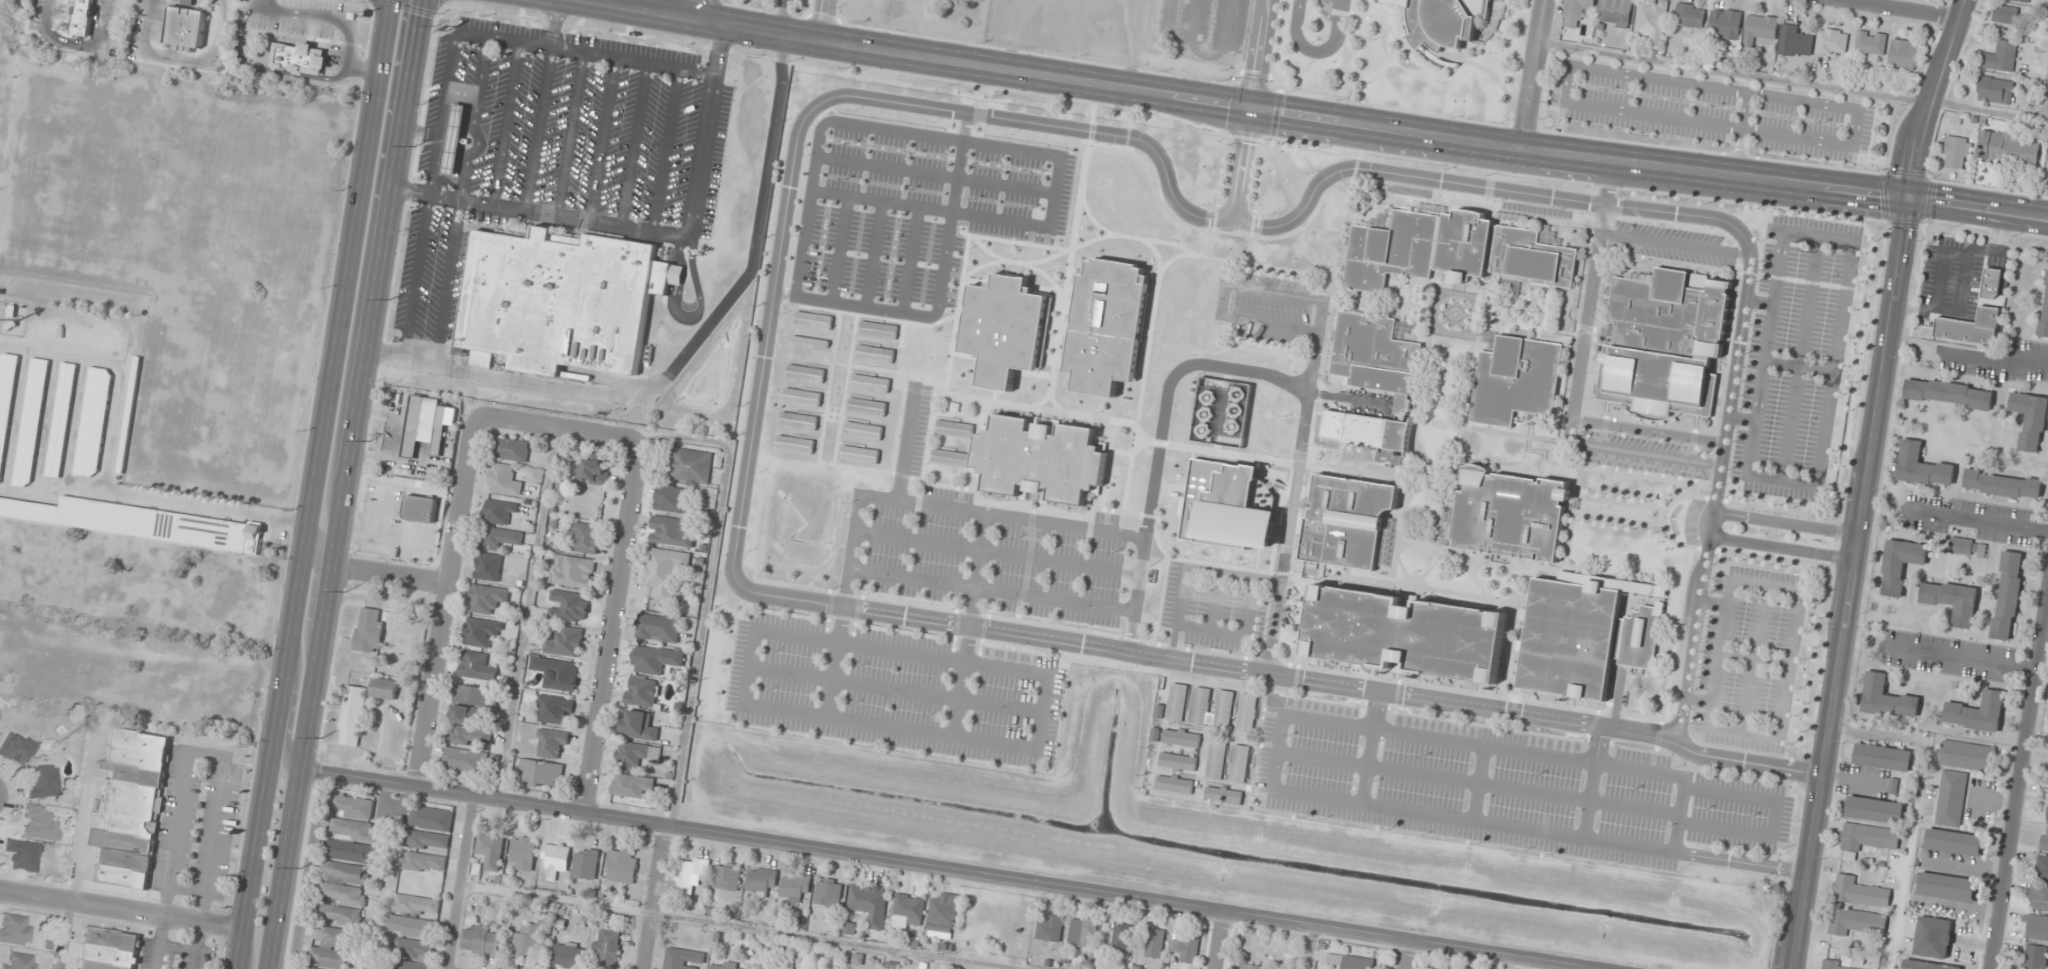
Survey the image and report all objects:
building: (2022, 0)
road: (703, 8)
road: (1897, 10)
building: (1576, 12)
building: (1615, 12)
building: (2006, 14)
building: (1689, 17)
building: (84, 18)
road: (320, 18)
road: (827, 18)
building: (1440, 21)
building: (1653, 21)
road: (554, 23)
building: (1725, 23)
building: (184, 25)
building: (1760, 28)
road: (503, 39)
building: (1795, 40)
building: (1832, 42)
building: (1871, 43)
road: (1347, 48)
road: (1401, 48)
road: (1315, 50)
road: (1251, 54)
building: (1903, 54)
road: (1266, 55)
building: (298, 56)
building: (2000, 56)
road: (179, 58)
building: (1446, 62)
road: (1513, 63)
road: (1481, 67)
road: (261, 68)
road: (362, 68)
road: (1531, 74)
road: (1796, 81)
road: (1703, 86)
road: (984, 90)
building: (1995, 90)
road: (1933, 98)
road: (1354, 103)
road: (1135, 108)
traffic signals: (1253, 109)
road: (1254, 109)
road: (1744, 111)
road: (505, 123)
road: (860, 125)
road: (537, 128)
road: (703, 128)
road: (1531, 130)
road: (568, 133)
building: (453, 137)
gas station: (453, 137)
road: (601, 139)
road: (632, 144)
building: (2008, 148)
road: (664, 149)
road: (1705, 151)
building: (1954, 151)
road: (1244, 166)
road: (937, 174)
road: (1519, 174)
road: (1508, 190)
road: (1057, 192)
road: (460, 197)
traffic signals: (1910, 199)
road: (1318, 202)
road: (1979, 209)
road: (537, 212)
road: (1091, 218)
building: (1090, 234)
building: (1134, 240)
road: (1154, 241)
road: (1674, 244)
road: (840, 249)
building: (1452, 250)
road: (1156, 253)
building: (1067, 254)
road: (875, 255)
road: (910, 260)
road: (1017, 262)
building: (1130, 264)
road: (416, 274)
road: (1047, 276)
building: (1991, 283)
road: (1258, 290)
road: (784, 295)
building: (559, 298)
road: (1759, 300)
road: (843, 303)
road: (1587, 309)
road: (1841, 311)
building: (2044, 311)
road: (687, 317)
building: (811, 319)
road: (909, 323)
building: (1106, 325)
road: (1270, 325)
building: (1970, 327)
building: (1003, 328)
building: (877, 329)
road: (1152, 330)
road: (766, 336)
building: (808, 340)
building: (1662, 344)
road: (836, 345)
road: (685, 350)
building: (873, 352)
building: (1374, 355)
road: (1799, 358)
road: (1994, 359)
road: (125, 364)
road: (1797, 364)
building: (1050, 365)
road: (882, 370)
building: (804, 372)
building: (1516, 379)
building: (869, 381)
road: (1170, 388)
building: (1066, 392)
building: (1948, 393)
building: (6, 396)
building: (800, 396)
road: (1349, 397)
road: (995, 400)
building: (865, 406)
road: (16, 416)
building: (2030, 418)
building: (797, 419)
road: (46, 420)
building: (61, 420)
road: (73, 421)
building: (31, 422)
building: (93, 422)
building: (414, 426)
building: (953, 428)
building: (862, 429)
building: (440, 430)
road: (558, 430)
road: (1647, 431)
building: (1363, 433)
road: (926, 440)
building: (793, 443)
road: (905, 443)
road: (1162, 443)
building: (511, 449)
building: (858, 453)
road: (1643, 453)
building: (948, 457)
building: (1038, 459)
building: (691, 465)
building: (1921, 466)
building: (596, 468)
road: (1616, 473)
building: (504, 479)
building: (1263, 479)
road: (313, 484)
road: (344, 484)
building: (2002, 484)
road: (1128, 487)
road: (1295, 487)
road: (52, 490)
building: (671, 498)
road: (1604, 501)
road: (1023, 506)
building: (1223, 506)
building: (421, 509)
road: (1787, 510)
building: (500, 511)
road: (206, 512)
building: (1509, 513)
road: (1589, 513)
road: (1663, 516)
road: (1975, 519)
building: (135, 520)
building: (1345, 520)
road: (1785, 522)
building: (671, 531)
building: (503, 537)
building: (584, 537)
building: (1967, 546)
road: (1781, 548)
road: (997, 552)
road: (1779, 560)
building: (1900, 562)
building: (488, 566)
road: (1187, 566)
building: (572, 571)
road: (1163, 571)
building: (665, 572)
road: (391, 574)
road: (1139, 575)
road: (1851, 583)
road: (311, 591)
road: (705, 593)
building: (2007, 594)
building: (488, 599)
building: (1952, 599)
road: (1216, 601)
road: (447, 603)
building: (570, 606)
road: (843, 607)
road: (524, 615)
road: (1011, 619)
road: (1760, 621)
road: (967, 624)
building: (658, 627)
road: (612, 628)
building: (369, 629)
road: (2044, 629)
building: (482, 632)
building: (1404, 632)
building: (1573, 632)
road: (1237, 634)
building: (1639, 636)
road: (1674, 640)
building: (566, 641)
road: (993, 645)
road: (1959, 656)
building: (651, 659)
road: (1772, 659)
building: (477, 666)
building: (556, 672)
road: (1281, 675)
road: (1751, 677)
building: (384, 688)
road: (894, 688)
building: (642, 691)
road: (1464, 691)
building: (1886, 698)
road: (1697, 699)
road: (1784, 701)
building: (1180, 702)
building: (472, 703)
road: (1341, 703)
building: (1203, 706)
building: (1227, 708)
building: (554, 709)
building: (1977, 712)
road: (288, 713)
building: (1250, 713)
building: (352, 715)
building: (639, 725)
road: (1500, 727)
building: (469, 736)
building: (1183, 738)
road: (1570, 738)
building: (552, 743)
road: (1371, 747)
road: (1033, 748)
building: (17, 749)
building: (635, 754)
building: (1967, 755)
building: (1882, 756)
road: (1557, 757)
building: (463, 759)
building: (1180, 762)
building: (1219, 764)
building: (1242, 764)
building: (541, 772)
road: (2018, 776)
road: (1852, 779)
building: (42, 782)
road: (1477, 782)
road: (1590, 782)
road: (1479, 783)
building: (631, 785)
building: (1177, 785)
building: (1226, 796)
building: (1951, 797)
road: (1994, 803)
building: (129, 807)
building: (355, 807)
building: (2046, 808)
building: (1875, 809)
building: (432, 818)
road: (1678, 818)
building: (40, 823)
building: (354, 829)
road: (1539, 832)
building: (1866, 838)
building: (2045, 838)
building: (428, 840)
building: (1953, 841)
building: (490, 848)
building: (348, 850)
building: (523, 853)
building: (23, 855)
building: (555, 858)
building: (426, 861)
building: (586, 863)
building: (622, 865)
road: (1966, 866)
building: (2042, 868)
road: (944, 869)
building: (346, 872)
building: (690, 875)
building: (727, 876)
building: (761, 881)
road: (460, 883)
building: (1945, 886)
building: (795, 887)
building: (1859, 891)
building: (828, 892)
building: (344, 893)
road: (652, 897)
building: (2038, 897)
building: (869, 903)
building: (418, 904)
road: (121, 911)
building: (908, 911)
building: (340, 914)
building: (942, 914)
building: (1855, 920)
building: (412, 926)
road: (742, 927)
building: (1051, 928)
building: (2037, 928)
building: (15, 929)
building: (1088, 932)
building: (333, 936)
building: (1121, 938)
building: (482, 940)
road: (1216, 940)
building: (1155, 943)
building: (1188, 947)
road: (1309, 947)
building: (108, 949)
building: (415, 949)
building: (606, 949)
building: (569, 955)
road: (1403, 955)
building: (2035, 956)
building: (330, 957)
building: (683, 959)
building: (1351, 961)
building: (1838, 961)
building: (20, 962)
road: (1508, 963)
building: (1926, 964)
building: (412, 965)
building: (727, 965)
building: (1255, 967)

